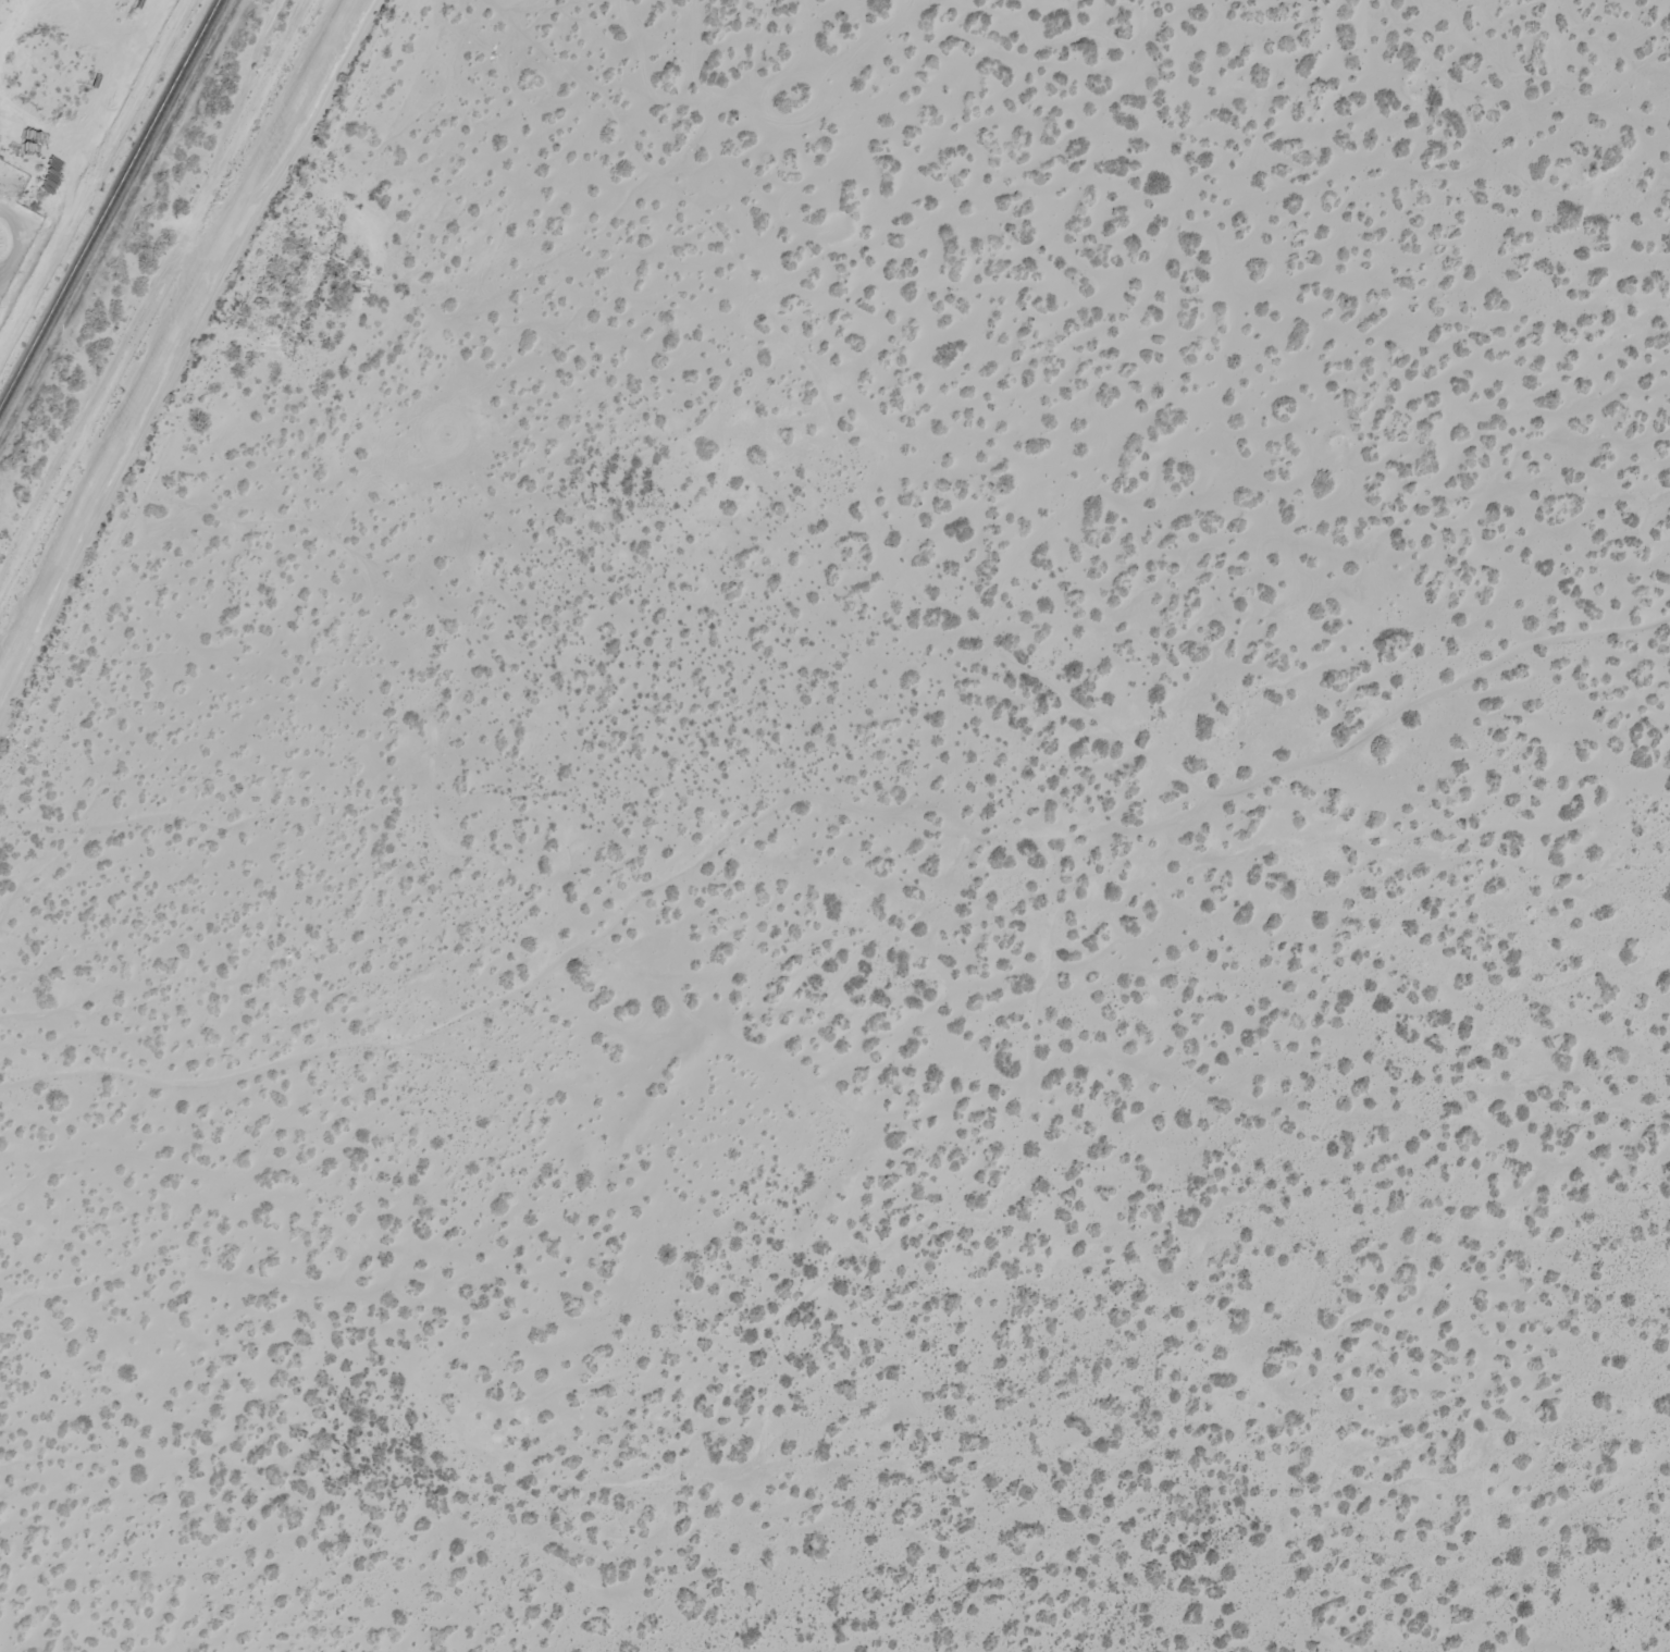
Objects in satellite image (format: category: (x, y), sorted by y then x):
railway: (110, 204)

